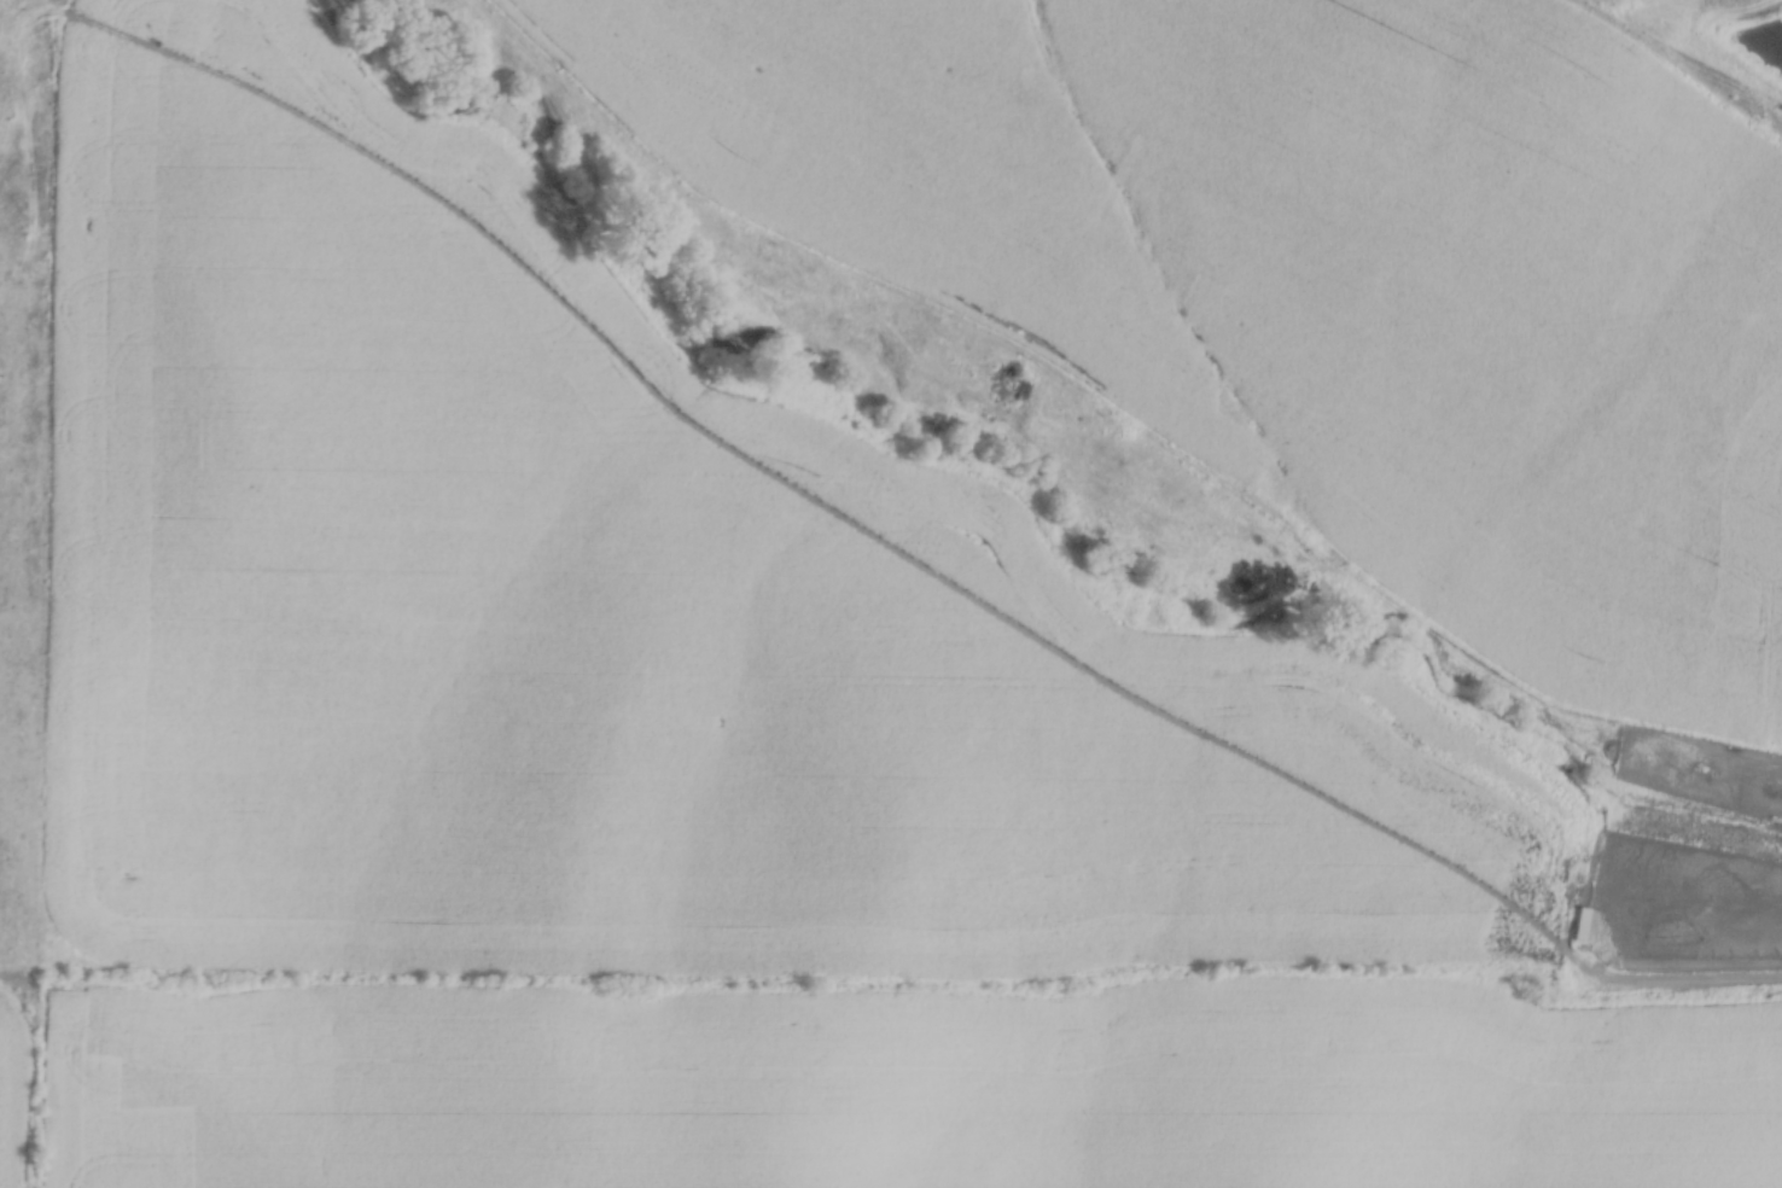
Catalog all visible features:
building: (1574, 834)

